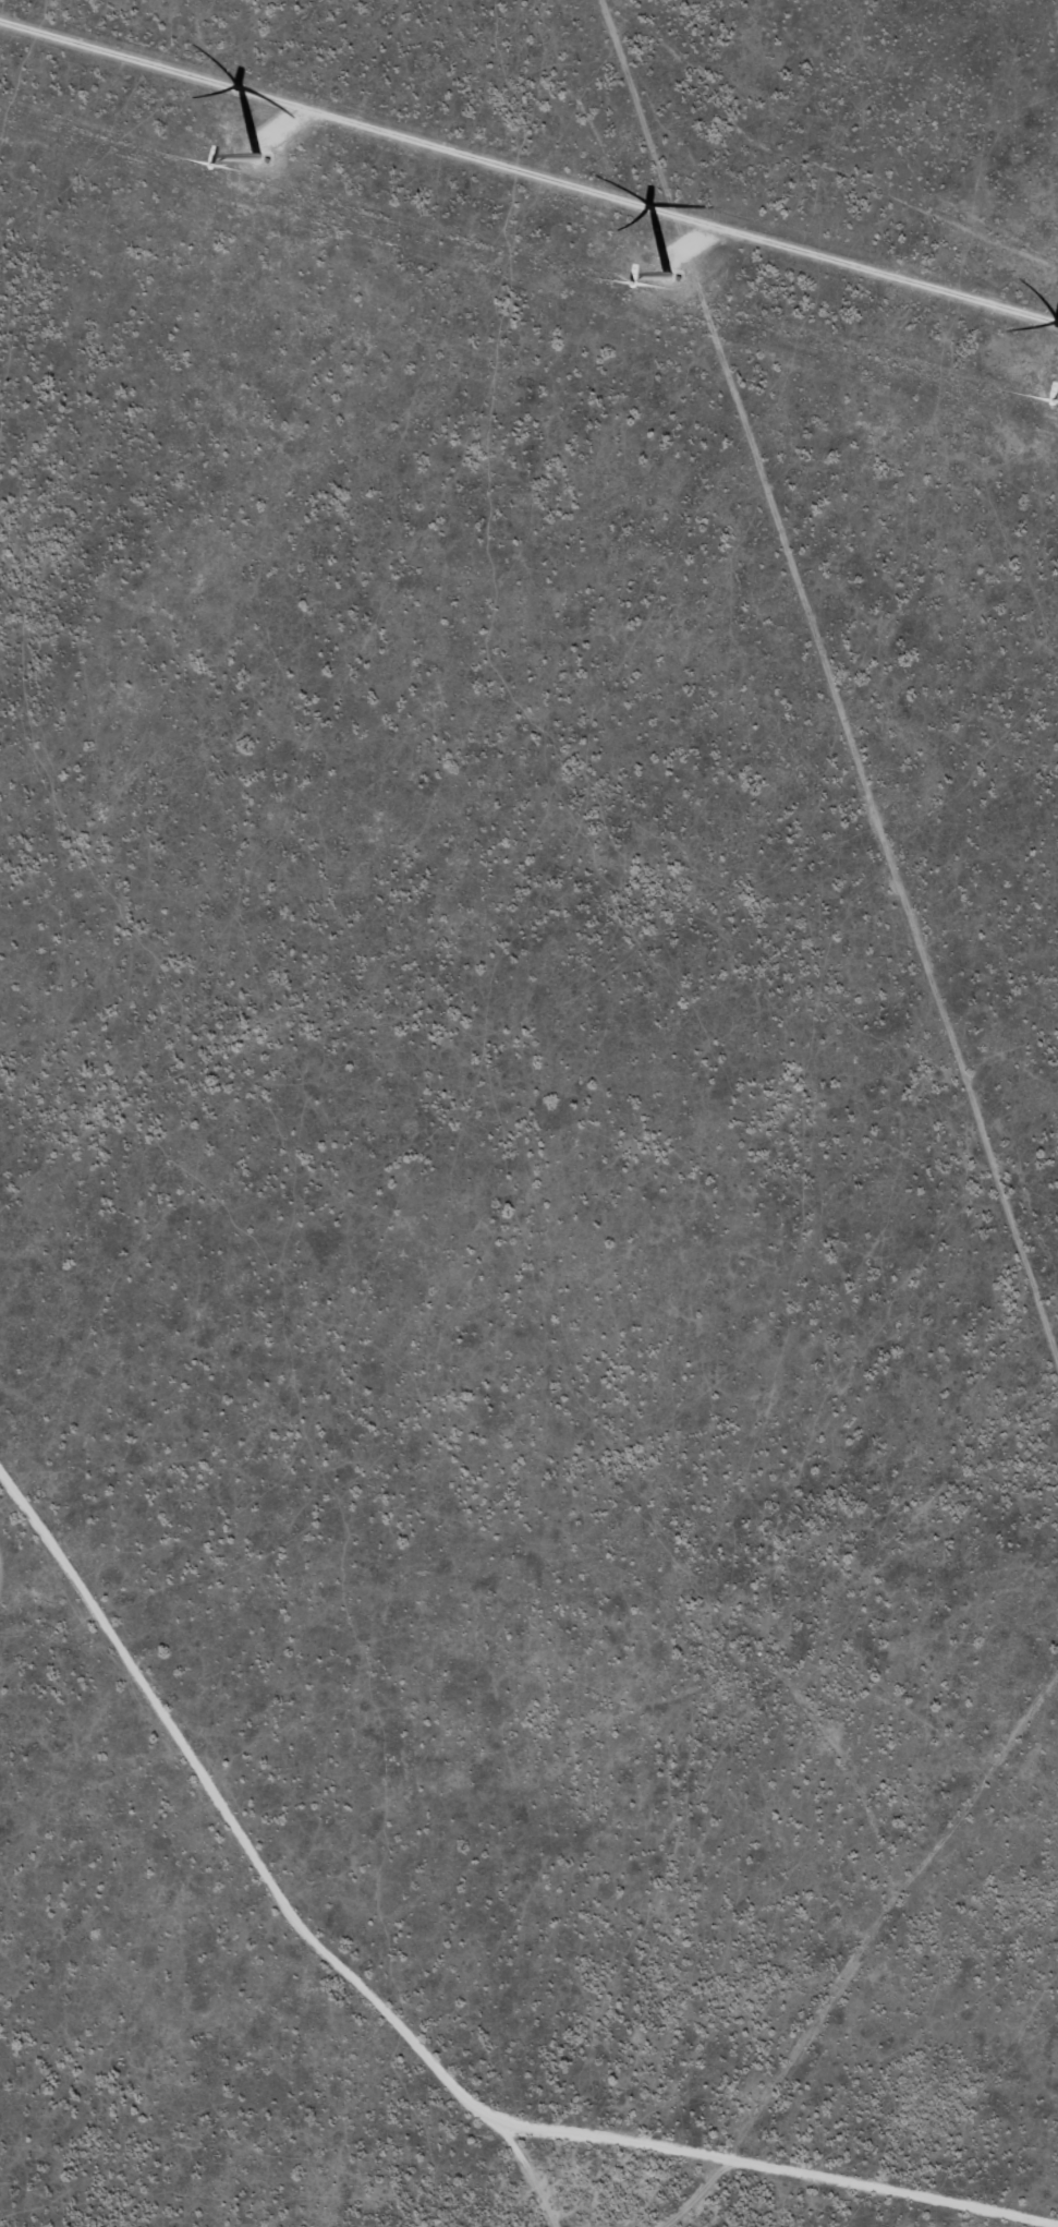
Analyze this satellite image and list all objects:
wind turbine: (257, 153)
wind turbine: (660, 285)
road: (268, 1841)
road: (851, 1927)

